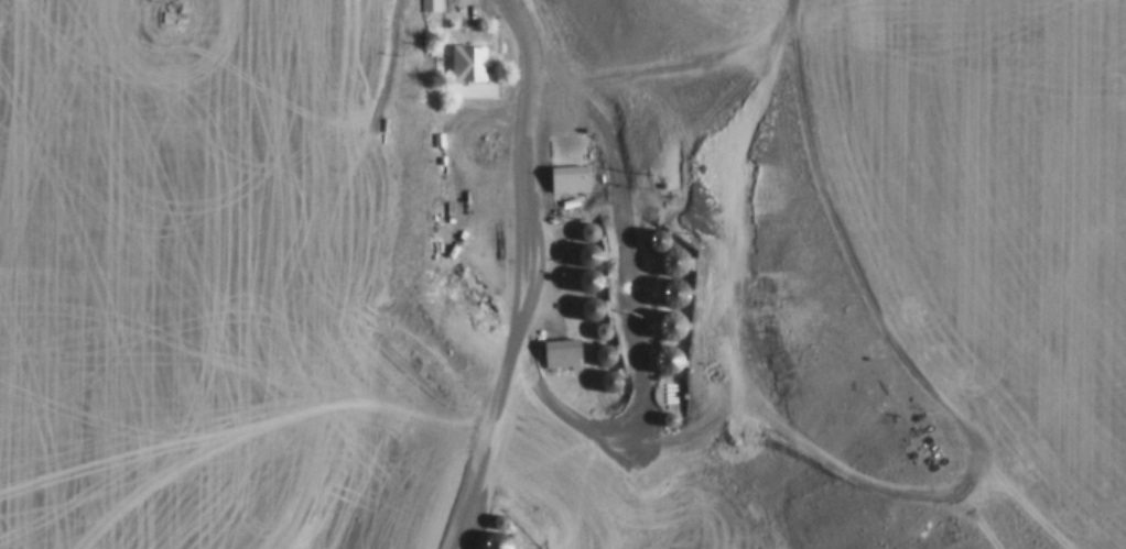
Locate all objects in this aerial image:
building: (429, 7)
building: (469, 64)
building: (571, 179)
building: (592, 232)
building: (660, 242)
building: (593, 267)
building: (676, 294)
building: (674, 327)
building: (607, 356)
building: (614, 383)
building: (499, 542)

